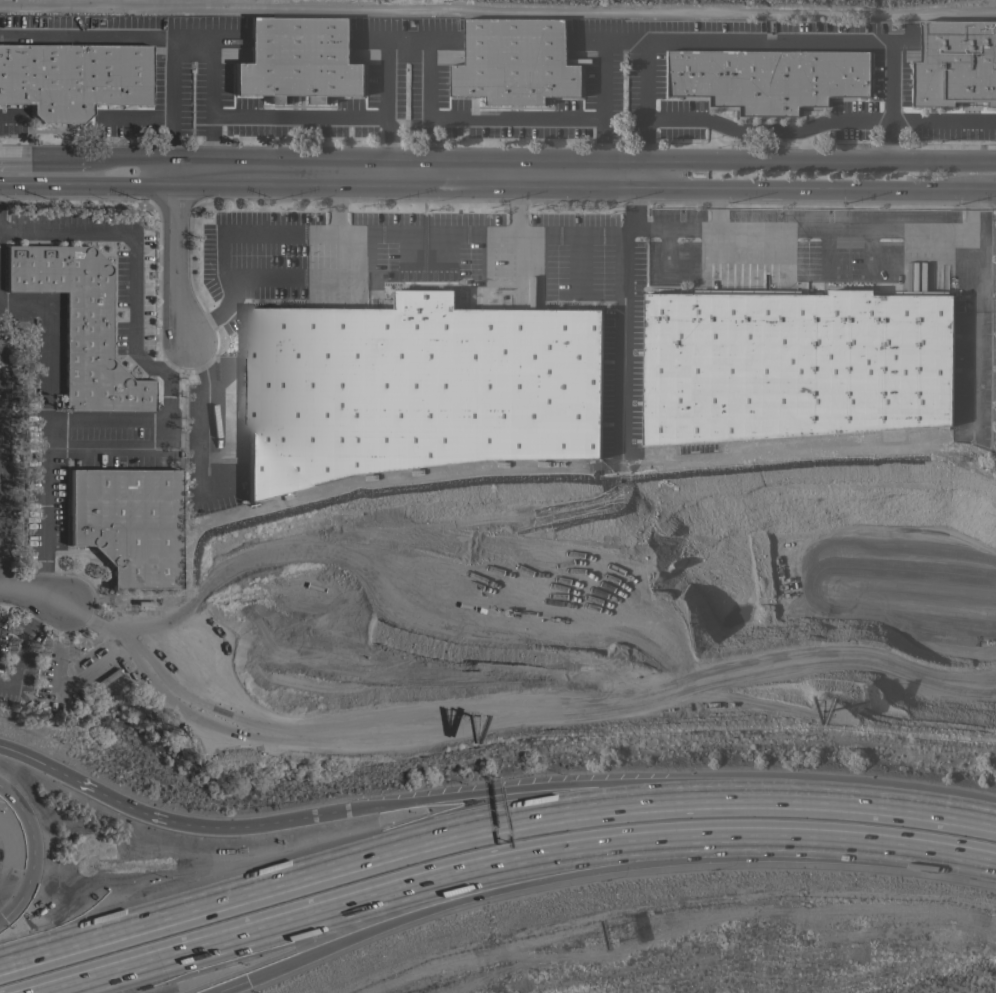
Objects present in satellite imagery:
road: (156, 31)
road: (823, 42)
road: (643, 47)
building: (293, 62)
building: (955, 63)
building: (514, 64)
building: (761, 86)
building: (67, 91)
road: (267, 115)
road: (439, 117)
road: (943, 119)
road: (767, 131)
road: (70, 155)
road: (819, 157)
road: (158, 162)
road: (409, 172)
road: (88, 179)
road: (809, 186)
road: (985, 186)
road: (340, 205)
road: (515, 205)
road: (676, 223)
road: (401, 238)
road: (850, 244)
road: (133, 248)
road: (175, 256)
building: (80, 323)
road: (622, 337)
road: (47, 352)
building: (961, 354)
road: (4, 363)
building: (795, 364)
road: (2, 376)
building: (417, 388)
building: (960, 402)
road: (2, 412)
road: (1, 417)
road: (86, 448)
road: (1, 495)
road: (0, 496)
building: (128, 523)
road: (32, 593)
road: (21, 643)
building: (261, 742)
road: (30, 756)
road: (536, 788)
road: (93, 789)
road: (869, 800)
road: (229, 827)
road: (815, 843)
road: (35, 850)
road: (587, 852)
road: (366, 854)
road: (391, 917)
road: (2, 920)
road: (296, 923)
road: (222, 984)

